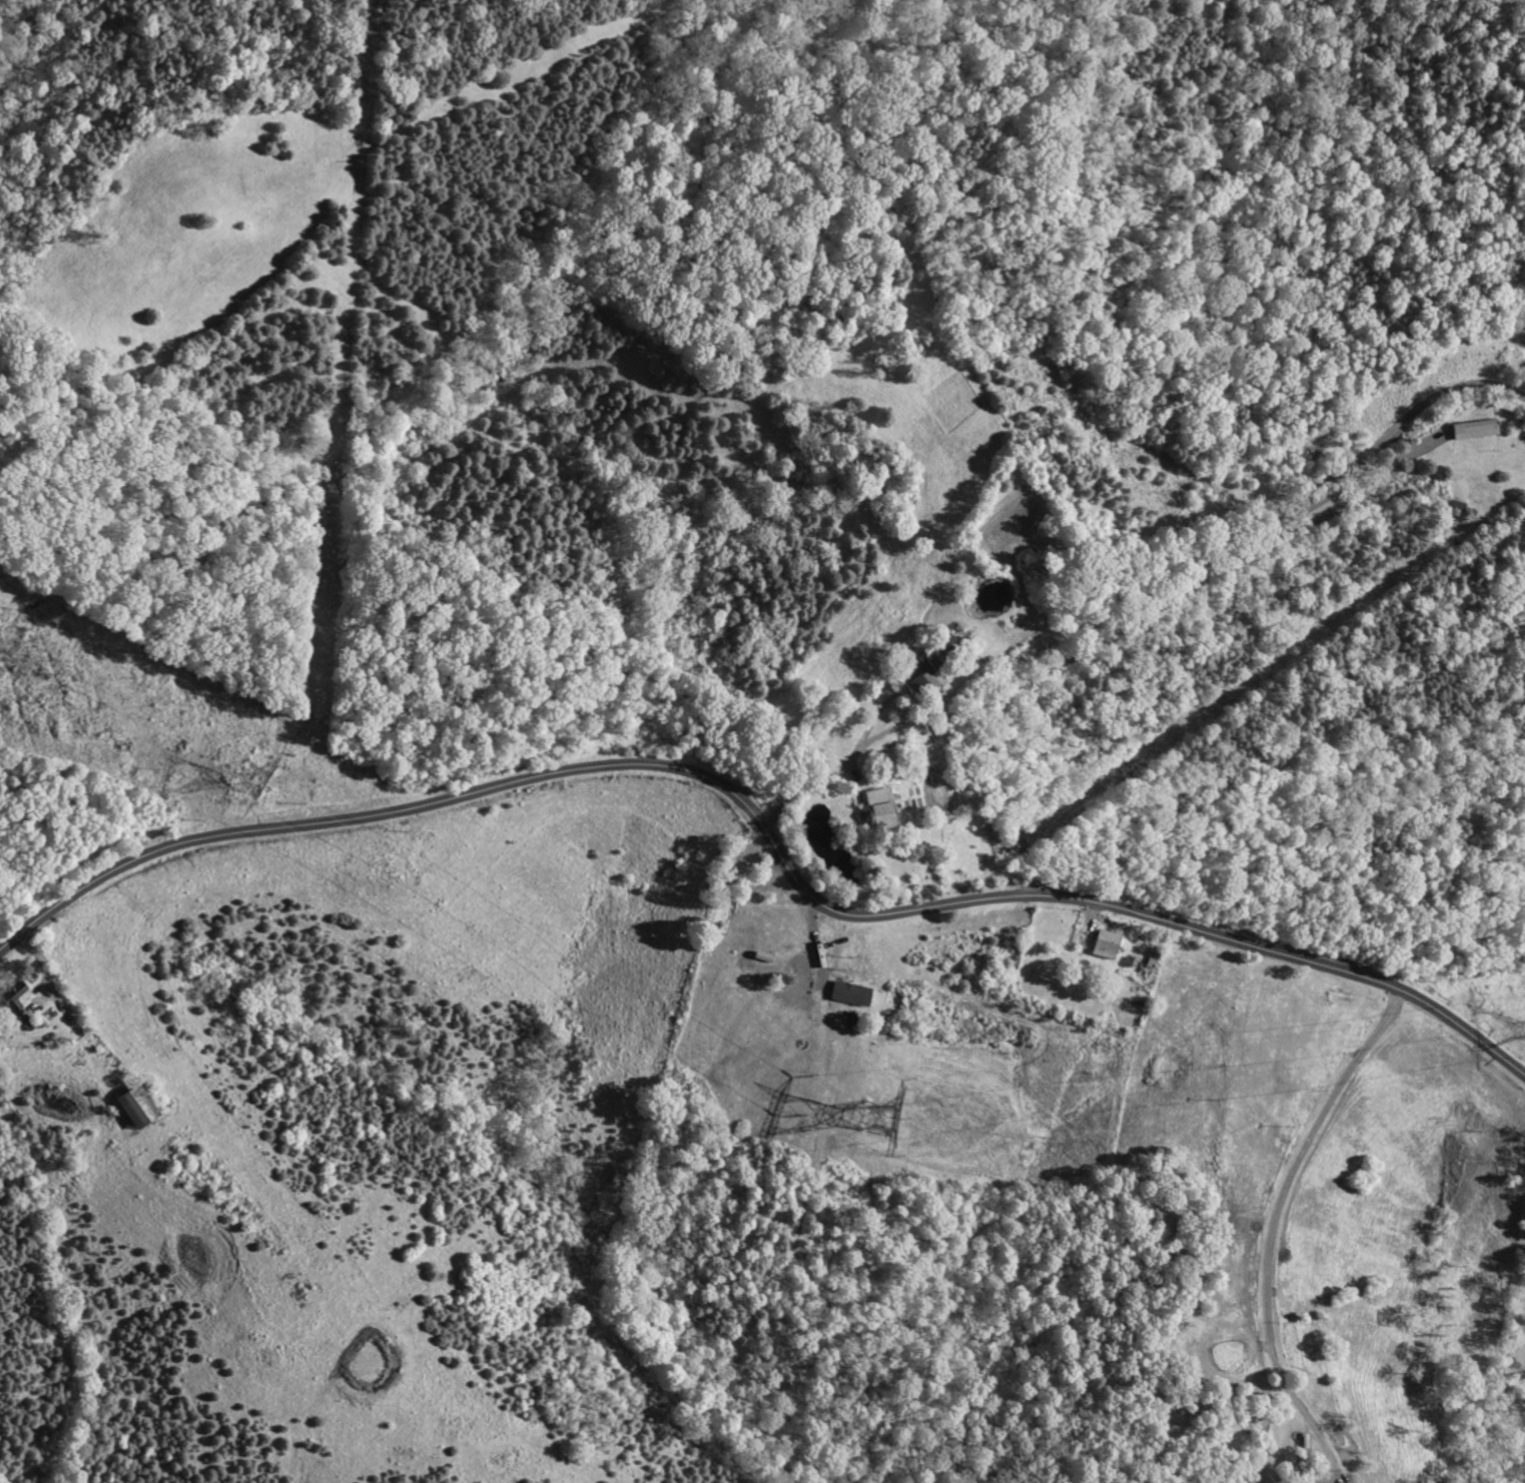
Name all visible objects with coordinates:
building: (1474, 430)
road: (1190, 590)
building: (925, 681)
road: (853, 758)
road: (767, 787)
power tower: (270, 790)
road: (781, 804)
building: (878, 806)
road: (769, 835)
building: (1105, 943)
building: (849, 992)
building: (15, 996)
road: (75, 1011)
building: (133, 1106)
power tower: (890, 1127)
road: (1272, 1229)

